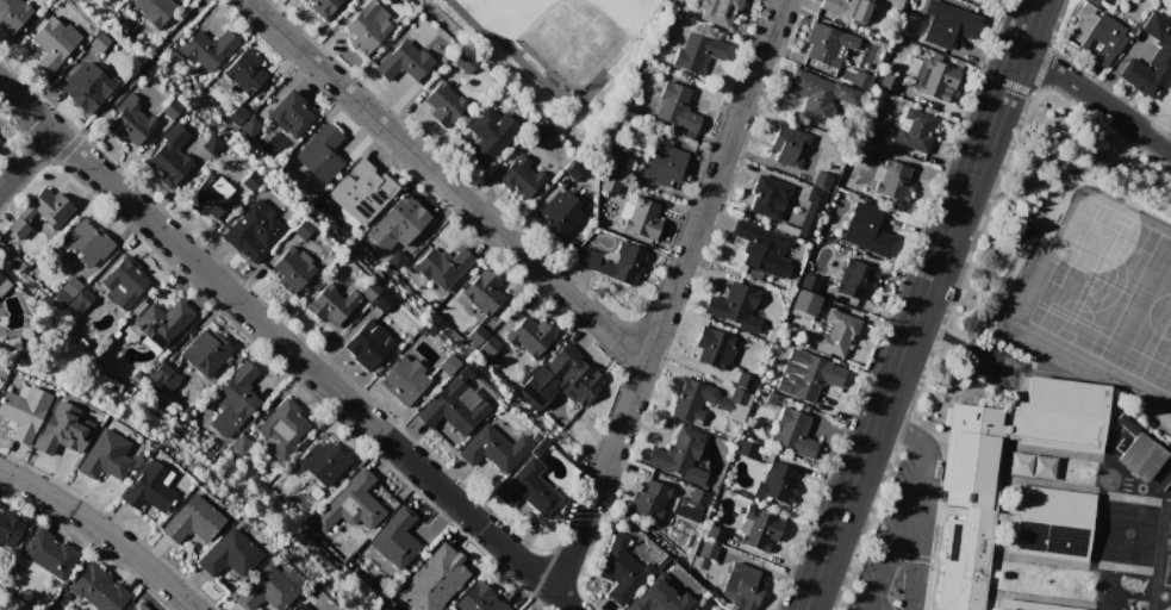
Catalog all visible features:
building: (1098, 4)
building: (323, 7)
building: (846, 8)
building: (155, 11)
building: (718, 12)
building: (12, 14)
building: (947, 23)
building: (365, 27)
park: (563, 31)
building: (1097, 33)
building: (98, 42)
building: (54, 43)
building: (826, 44)
building: (210, 49)
building: (696, 52)
building: (1151, 57)
building: (462, 60)
building: (404, 61)
building: (245, 71)
building: (854, 77)
building: (938, 81)
building: (889, 82)
building: (88, 85)
building: (823, 99)
road: (1095, 99)
building: (1166, 99)
building: (443, 104)
building: (675, 107)
building: (170, 108)
building: (291, 113)
building: (237, 114)
building: (127, 120)
building: (250, 127)
building: (914, 131)
building: (534, 132)
building: (870, 132)
building: (488, 135)
building: (211, 144)
building: (269, 144)
building: (787, 147)
building: (862, 148)
building: (320, 154)
building: (168, 157)
road: (25, 160)
building: (616, 160)
building: (662, 163)
building: (573, 170)
building: (518, 176)
building: (820, 180)
building: (250, 181)
building: (892, 181)
road: (443, 183)
building: (609, 185)
building: (368, 194)
building: (208, 195)
building: (768, 197)
building: (329, 200)
building: (810, 211)
building: (41, 212)
building: (561, 213)
building: (640, 218)
building: (397, 224)
building: (301, 230)
building: (866, 230)
building: (253, 231)
building: (88, 243)
building: (762, 249)
road: (191, 261)
building: (397, 261)
building: (617, 262)
park: (1101, 263)
building: (441, 267)
building: (291, 268)
building: (857, 279)
building: (1, 281)
building: (123, 282)
building: (68, 288)
building: (368, 290)
building: (482, 292)
road: (667, 298)
park: (1113, 298)
building: (81, 300)
building: (380, 301)
building: (805, 303)
road: (920, 304)
building: (329, 306)
building: (735, 306)
building: (161, 320)
road: (933, 329)
building: (837, 332)
building: (477, 336)
building: (530, 336)
building: (367, 344)
building: (714, 348)
building: (205, 351)
road: (983, 354)
building: (447, 365)
building: (573, 374)
building: (806, 375)
building: (162, 376)
building: (404, 379)
building: (473, 379)
building: (742, 380)
building: (237, 398)
building: (687, 403)
building: (453, 407)
building: (23, 411)
building: (1060, 415)
building: (62, 429)
building: (282, 429)
road: (905, 429)
building: (792, 432)
building: (241, 444)
building: (492, 448)
building: (745, 449)
building: (678, 455)
building: (104, 456)
building: (323, 461)
building: (1146, 462)
building: (1029, 465)
building: (279, 481)
building: (772, 483)
building: (147, 487)
building: (527, 488)
building: (647, 497)
building: (697, 497)
building: (967, 503)
building: (350, 504)
building: (188, 521)
building: (1051, 522)
road: (475, 523)
building: (10, 525)
road: (895, 528)
building: (758, 529)
road: (922, 529)
road: (102, 531)
building: (714, 534)
building: (395, 539)
building: (708, 550)
building: (50, 553)
building: (225, 555)
building: (621, 568)
building: (432, 579)
building: (742, 586)
building: (95, 590)
building: (264, 591)
building: (658, 596)
building: (479, 599)
building: (1028, 605)
building: (136, 606)
building: (297, 606)
building: (711, 609)

